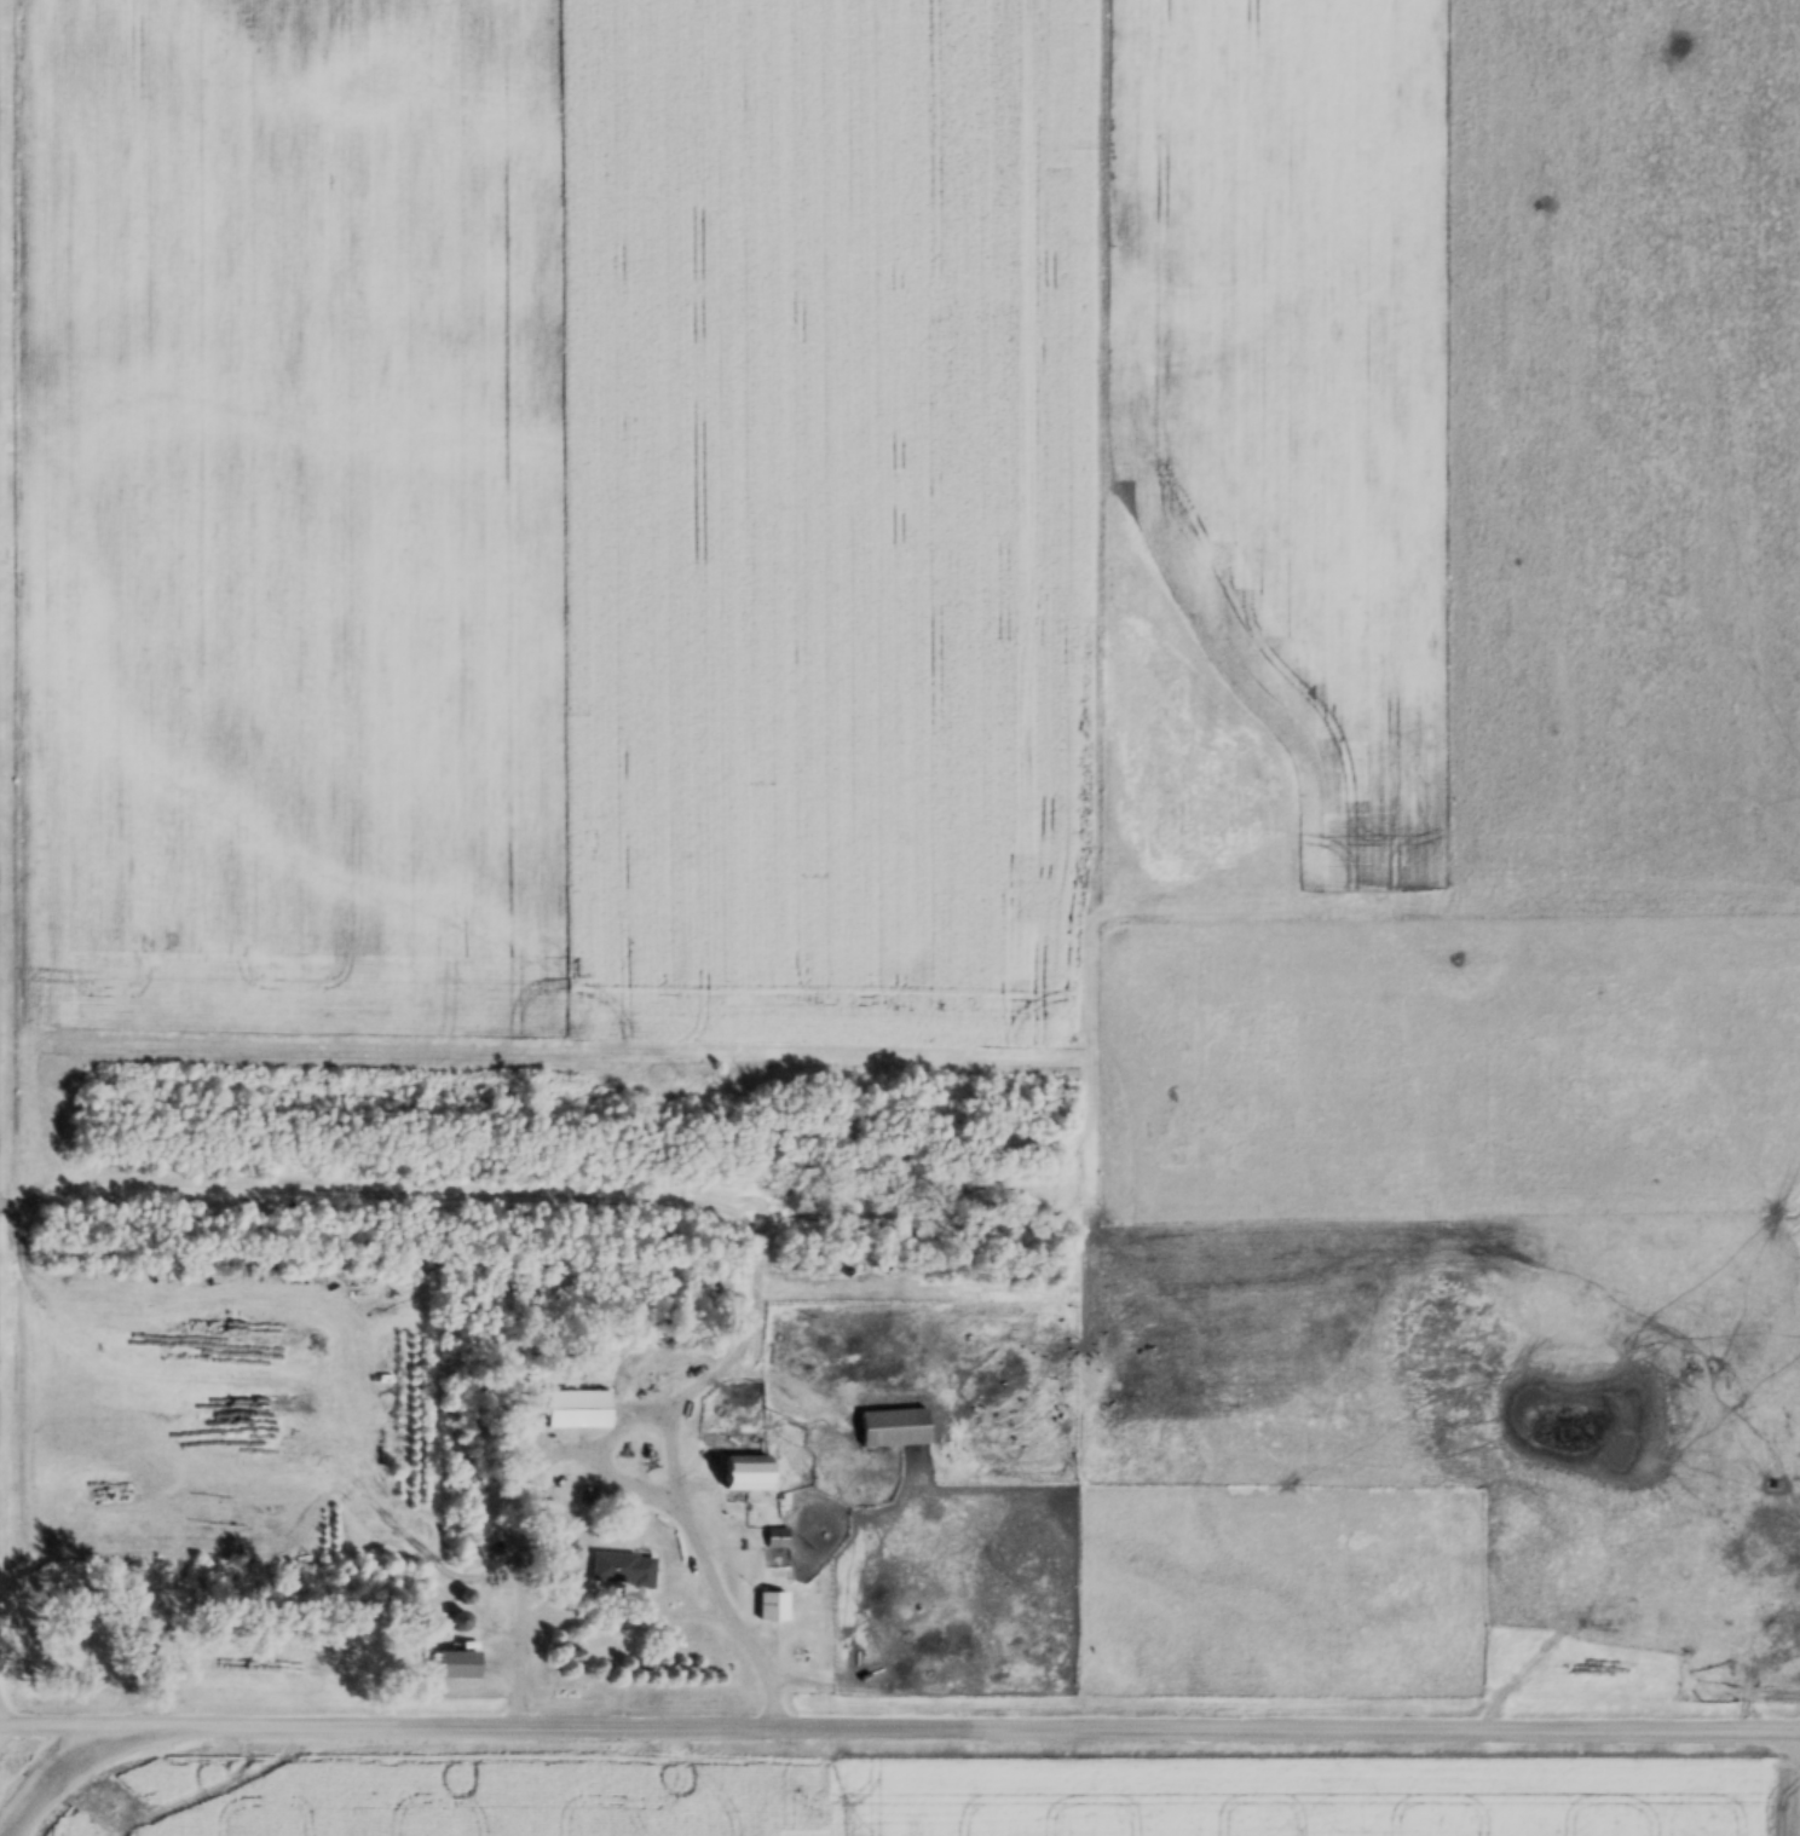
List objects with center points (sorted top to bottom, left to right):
building: (578, 1413)
building: (895, 1431)
road: (615, 1466)
building: (751, 1477)
building: (589, 1499)
building: (778, 1542)
building: (491, 1553)
building: (624, 1574)
building: (773, 1610)
road: (742, 1626)
road: (525, 1636)
building: (458, 1668)
road: (900, 1724)

